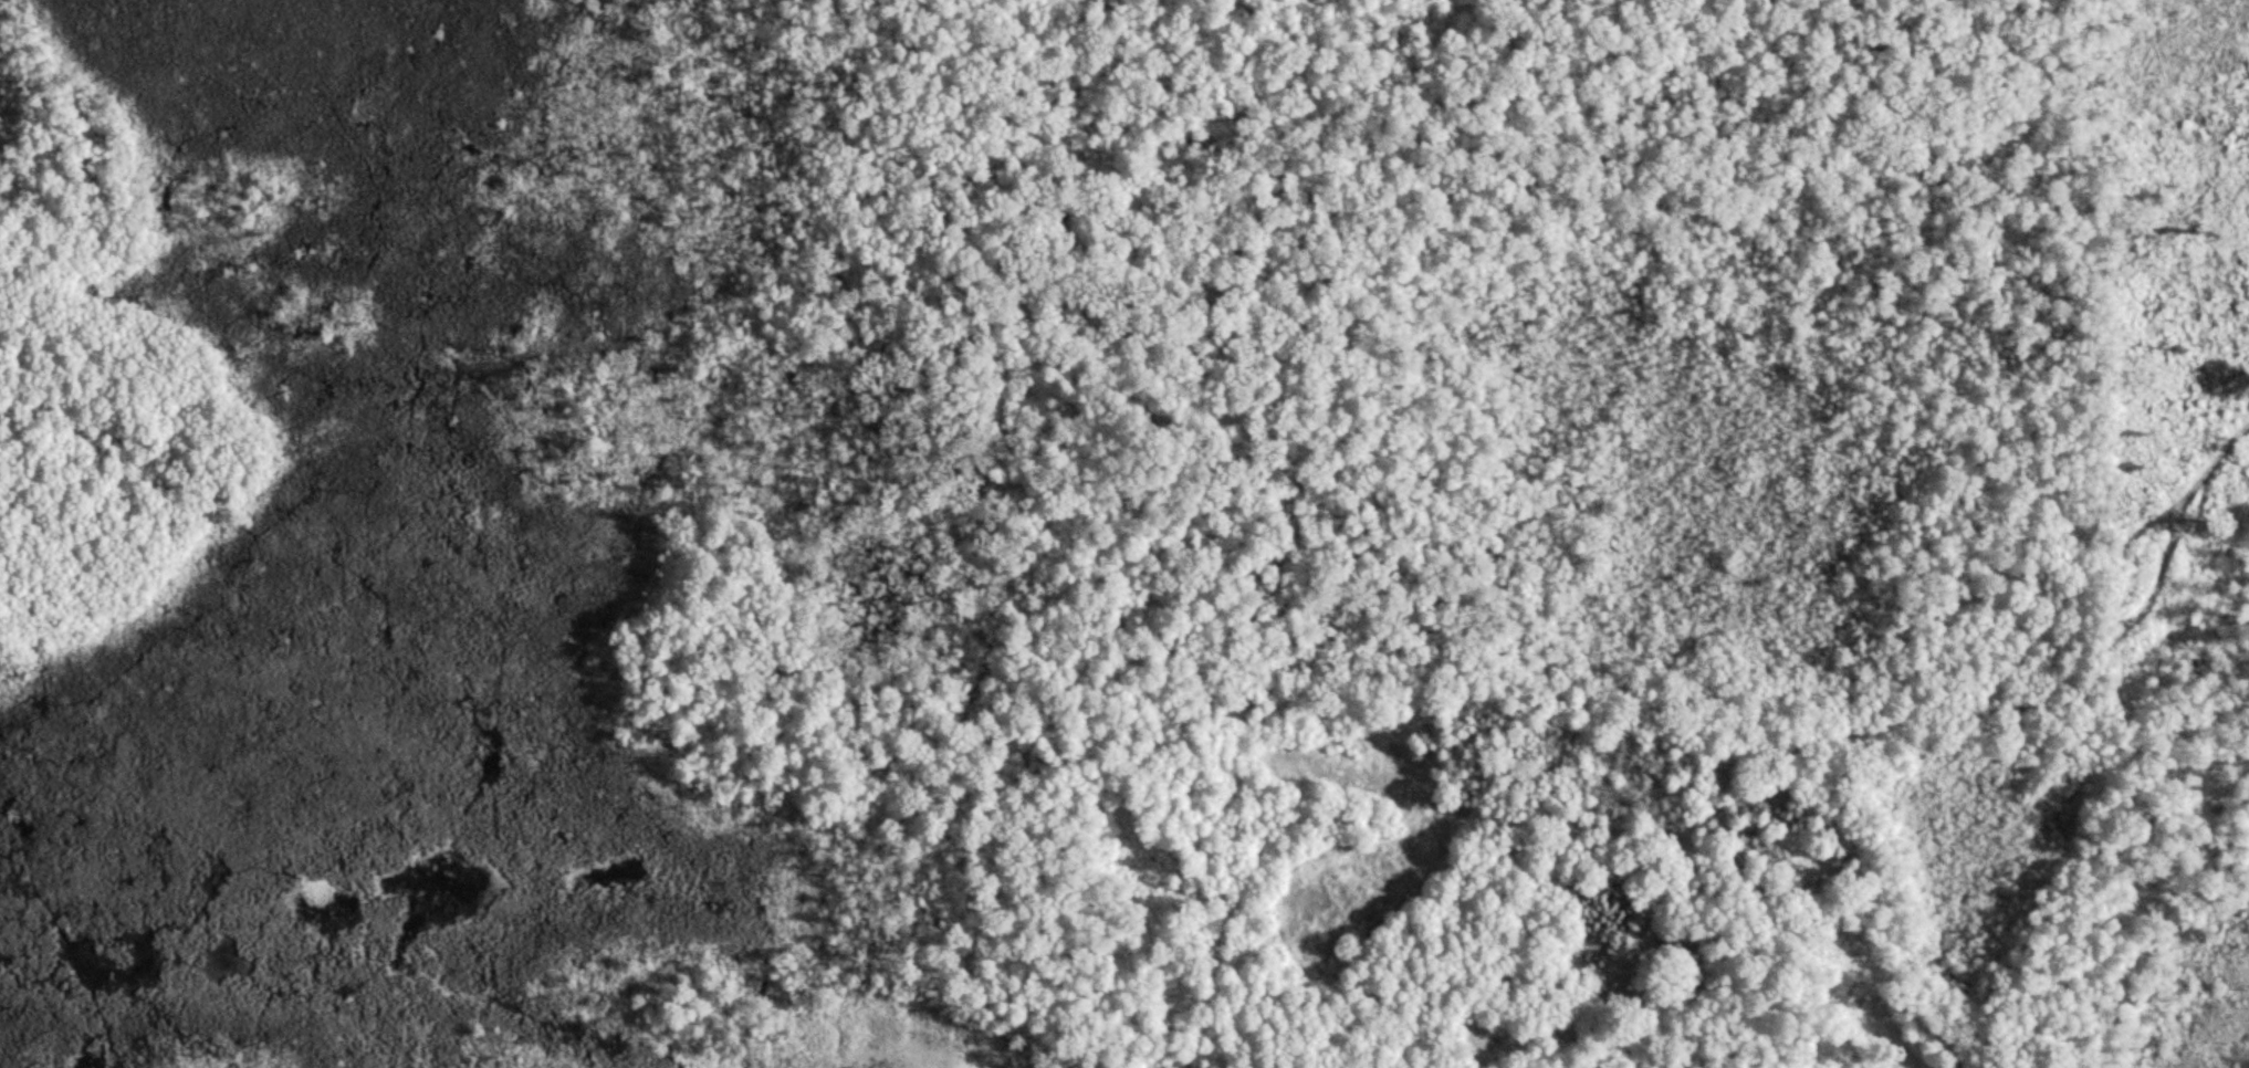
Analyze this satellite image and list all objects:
road: (2036, 772)

